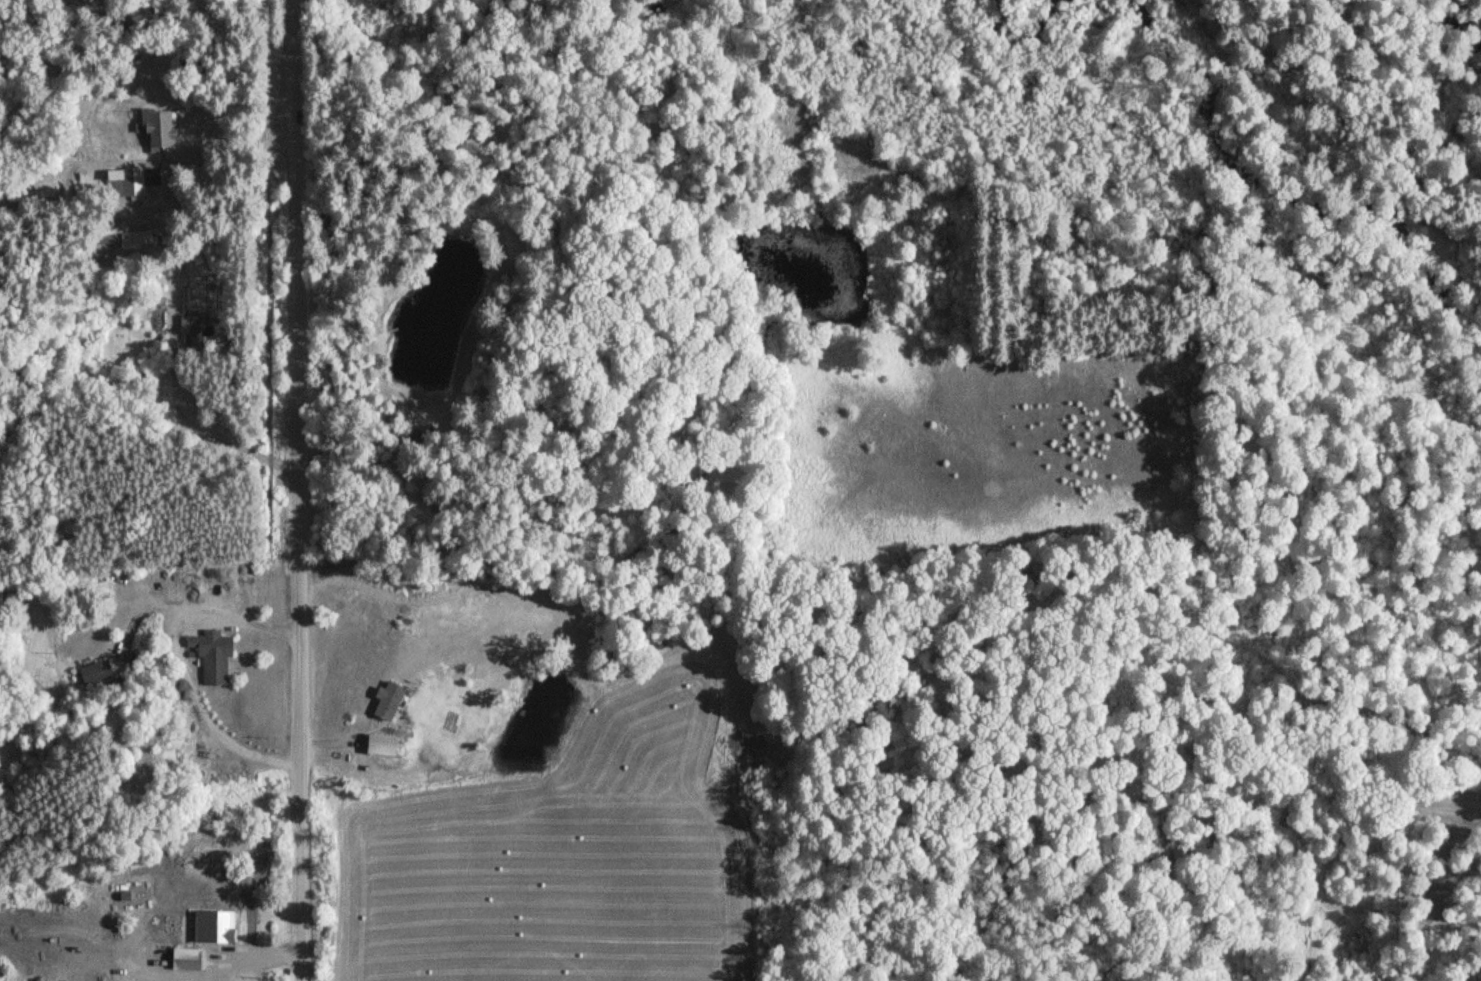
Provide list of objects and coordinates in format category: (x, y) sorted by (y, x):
building: (163, 124)
building: (137, 185)
building: (141, 238)
building: (192, 327)
road: (167, 364)
road: (297, 490)
building: (214, 653)
building: (395, 701)
road: (339, 738)
building: (225, 925)
building: (191, 959)

